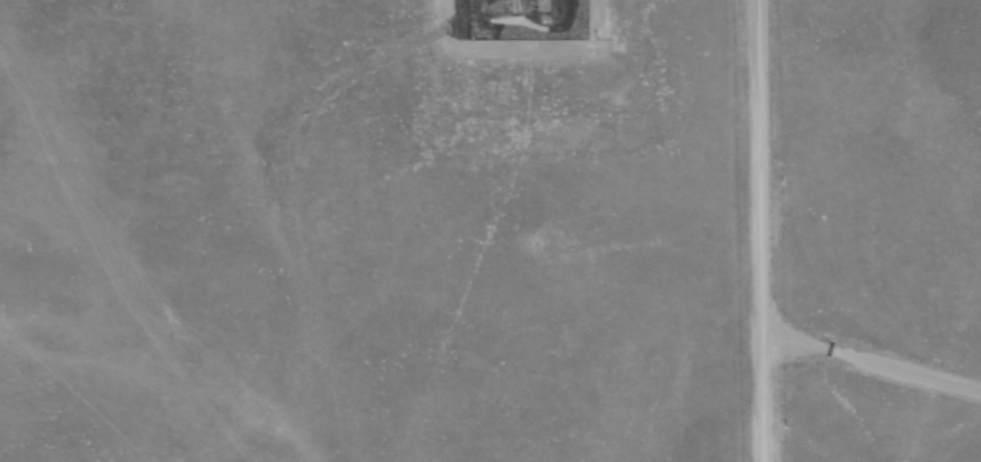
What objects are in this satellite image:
road: (755, 231)
road: (868, 367)

